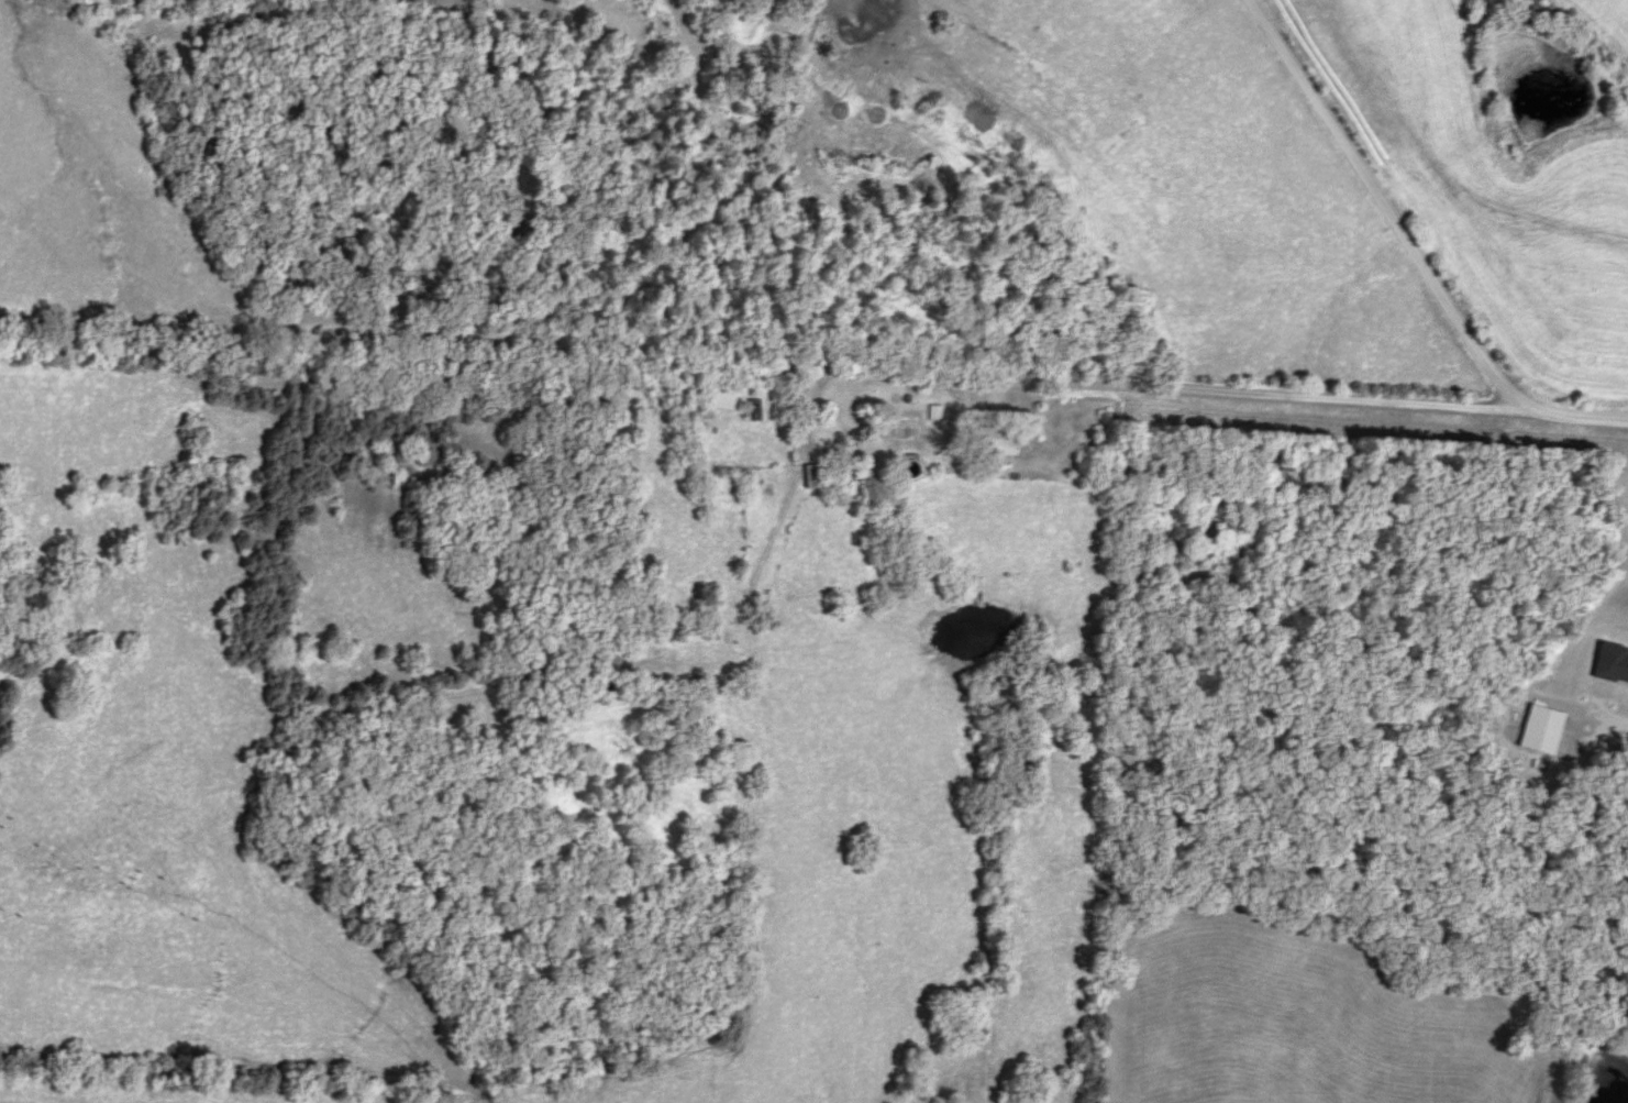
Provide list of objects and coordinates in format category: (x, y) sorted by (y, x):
park: (752, 10)
building: (865, 27)
building: (882, 55)
road: (1362, 209)
building: (721, 397)
road: (1070, 411)
building: (934, 413)
building: (1003, 442)
building: (817, 477)
building: (1606, 664)
road: (1606, 714)
building: (1532, 729)

